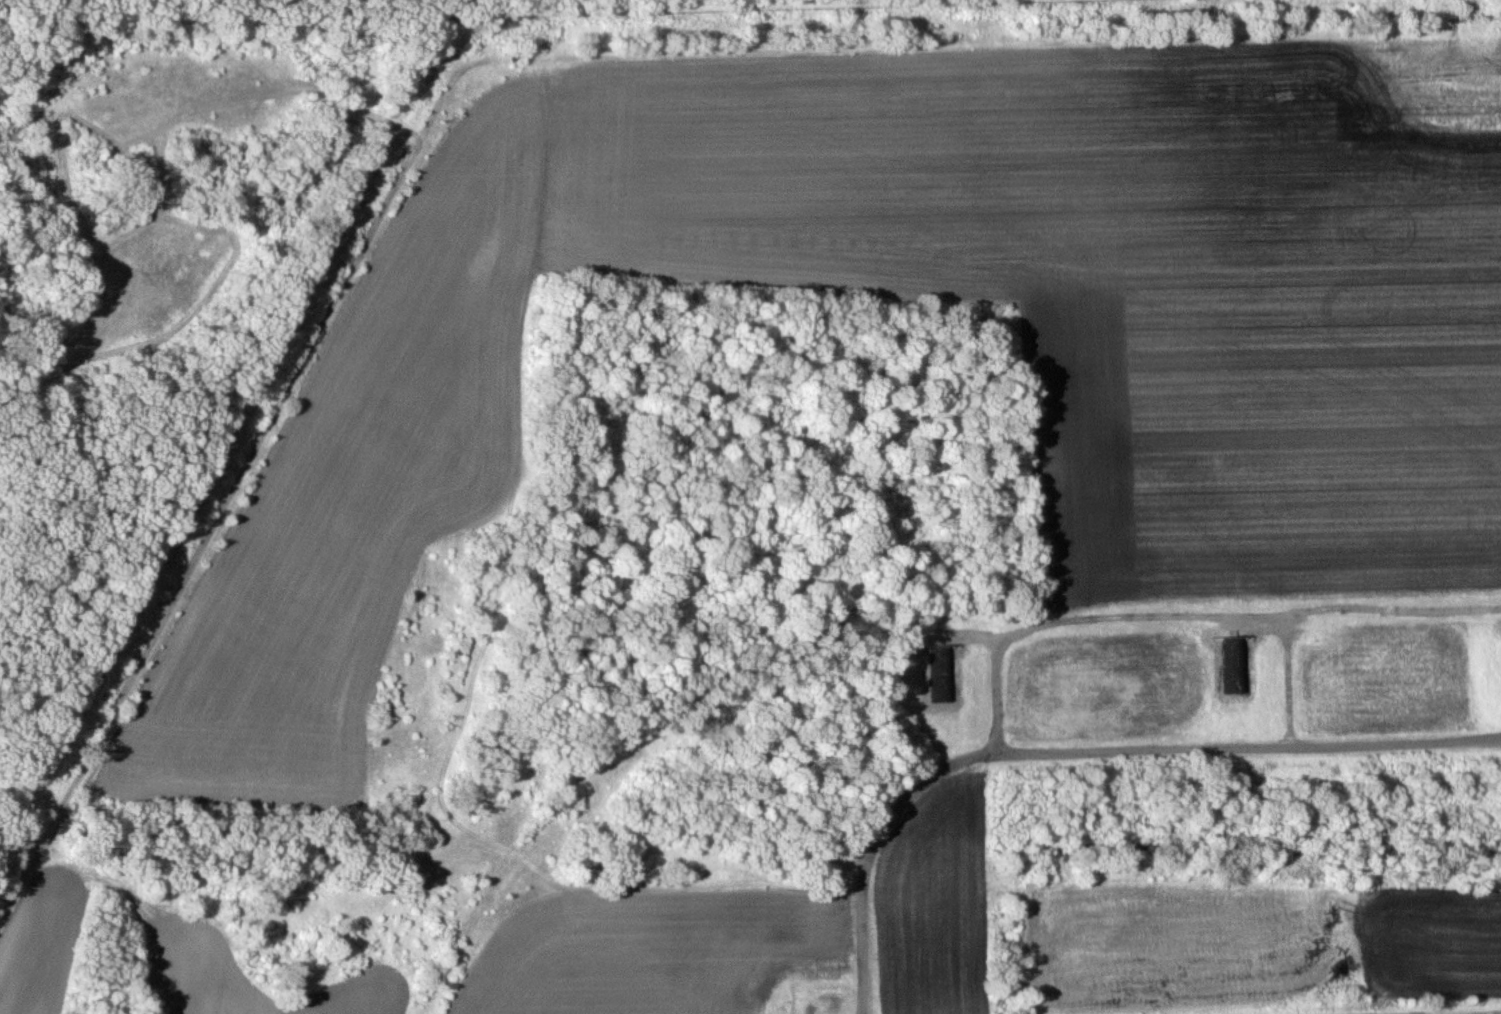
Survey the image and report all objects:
road: (1196, 603)
building: (940, 673)
road: (1079, 742)
road: (1481, 1013)

